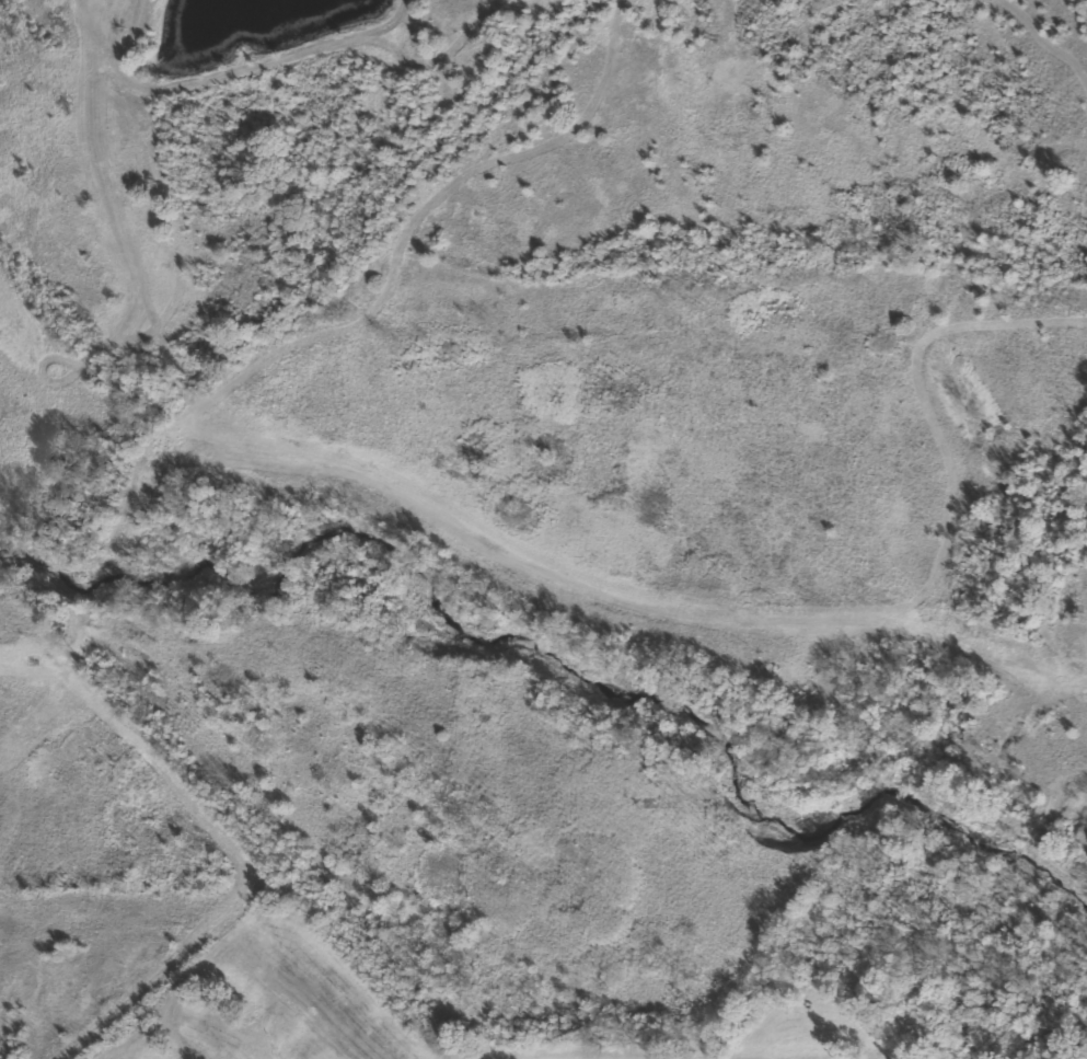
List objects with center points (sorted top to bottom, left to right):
road: (674, 1014)

